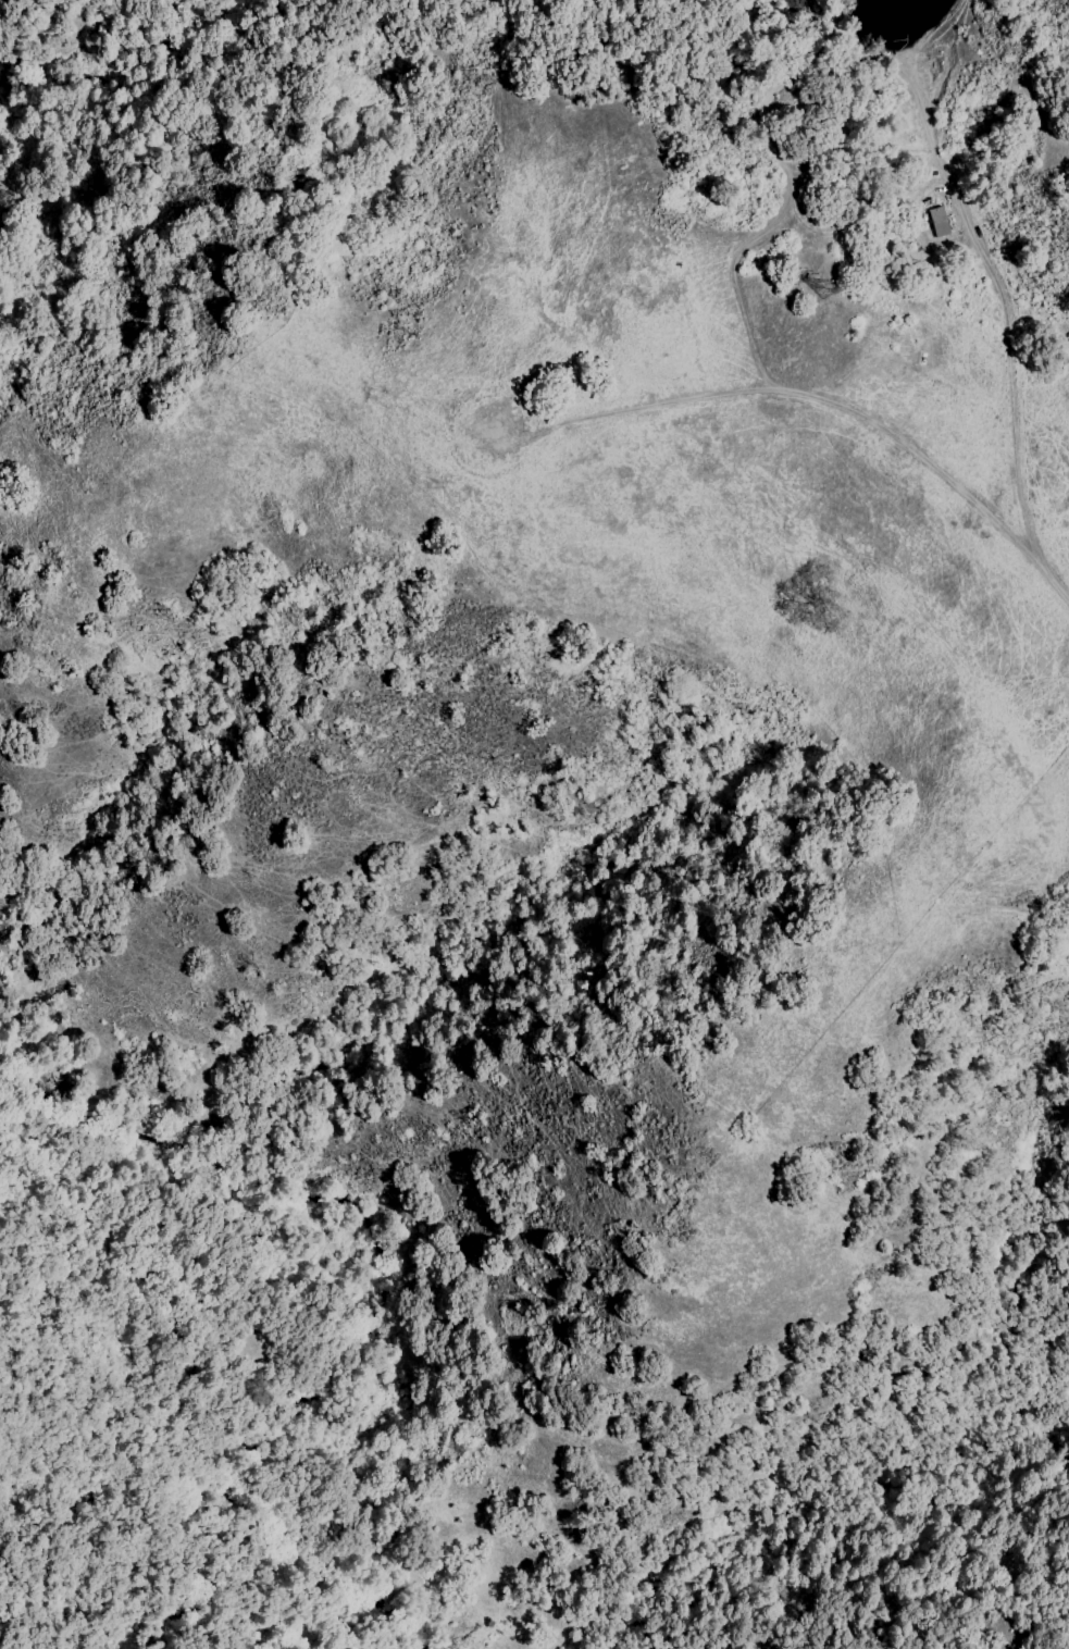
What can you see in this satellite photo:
building: (933, 223)
power tower: (813, 288)

